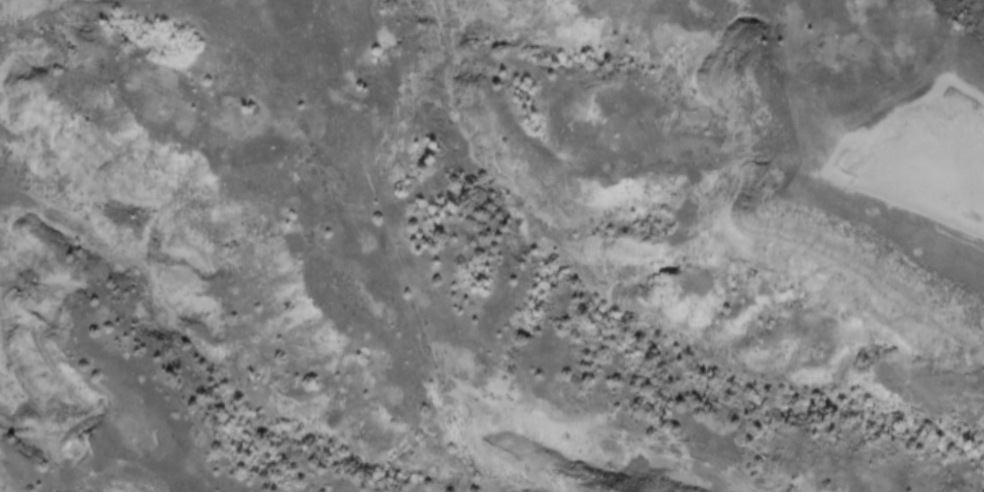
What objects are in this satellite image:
road: (948, 147)
petroleum well: (976, 190)

